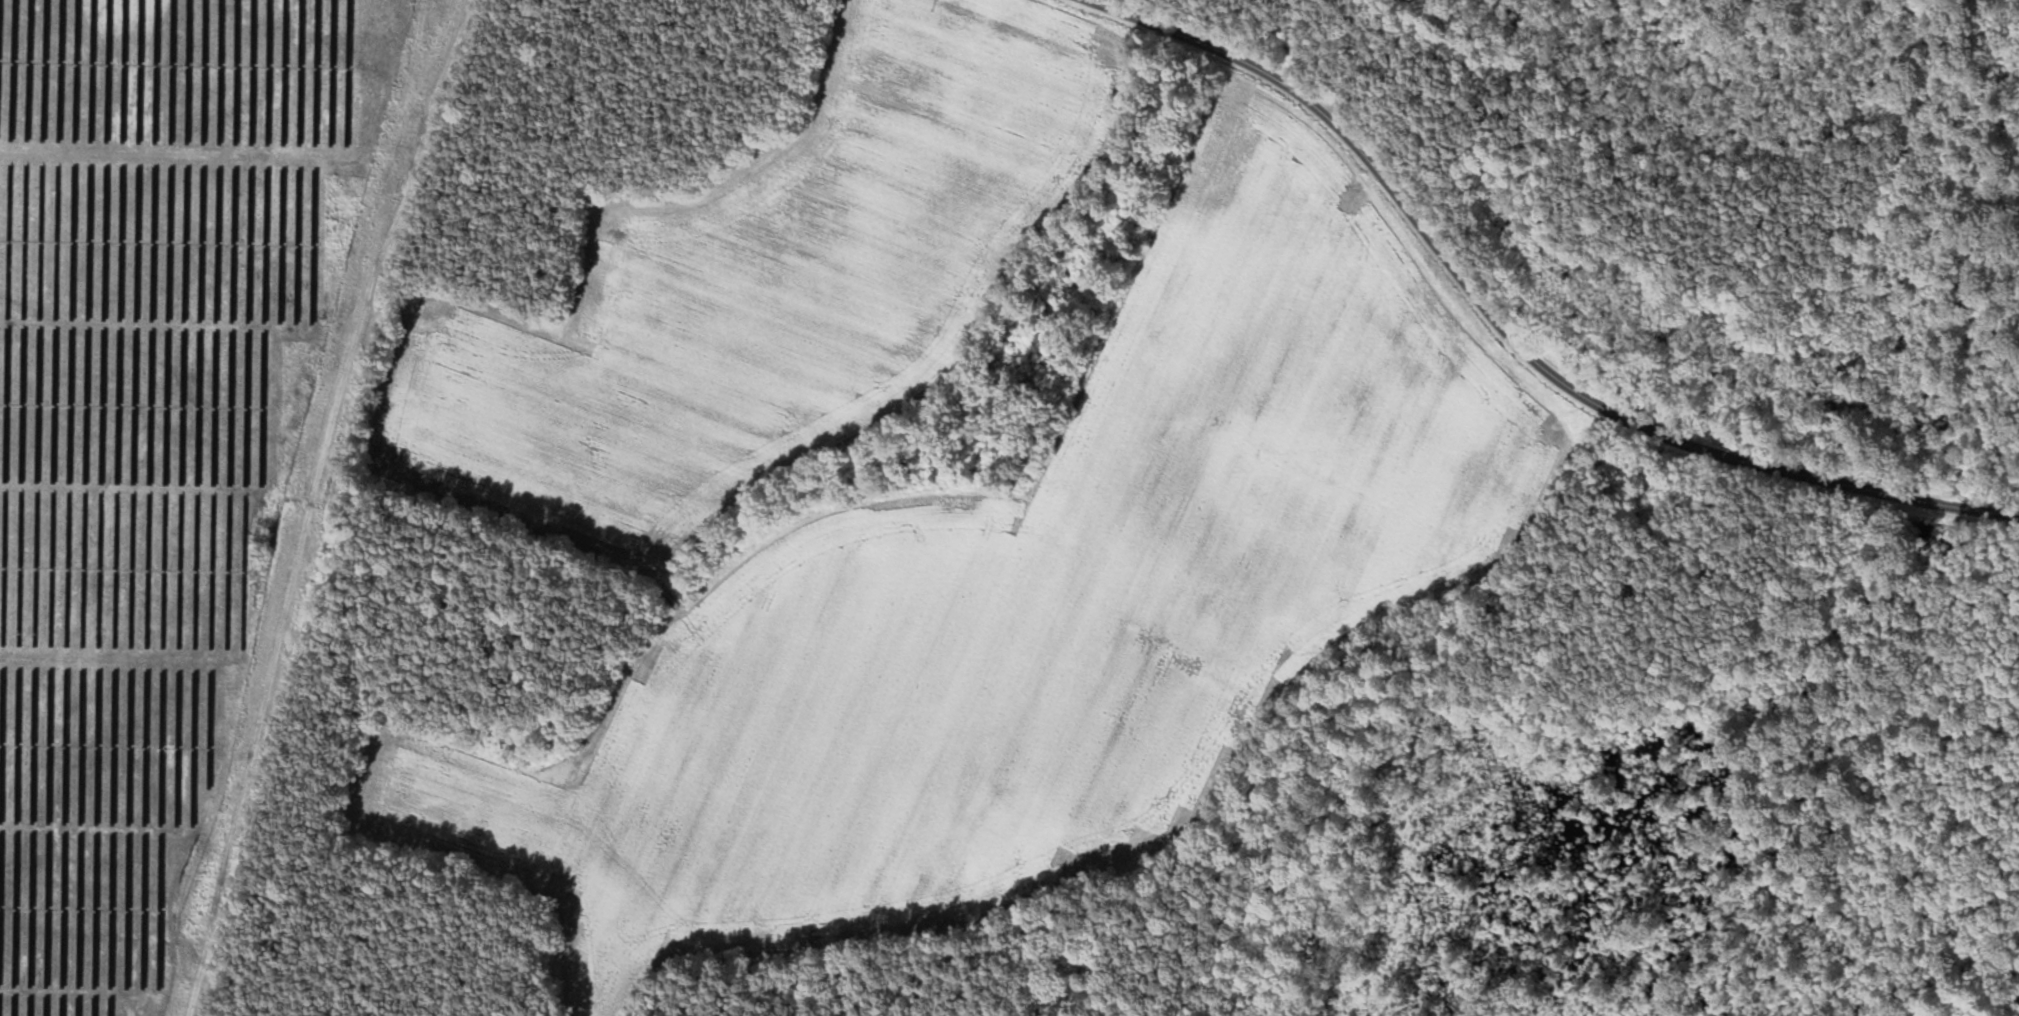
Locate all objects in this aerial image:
road: (1508, 335)

